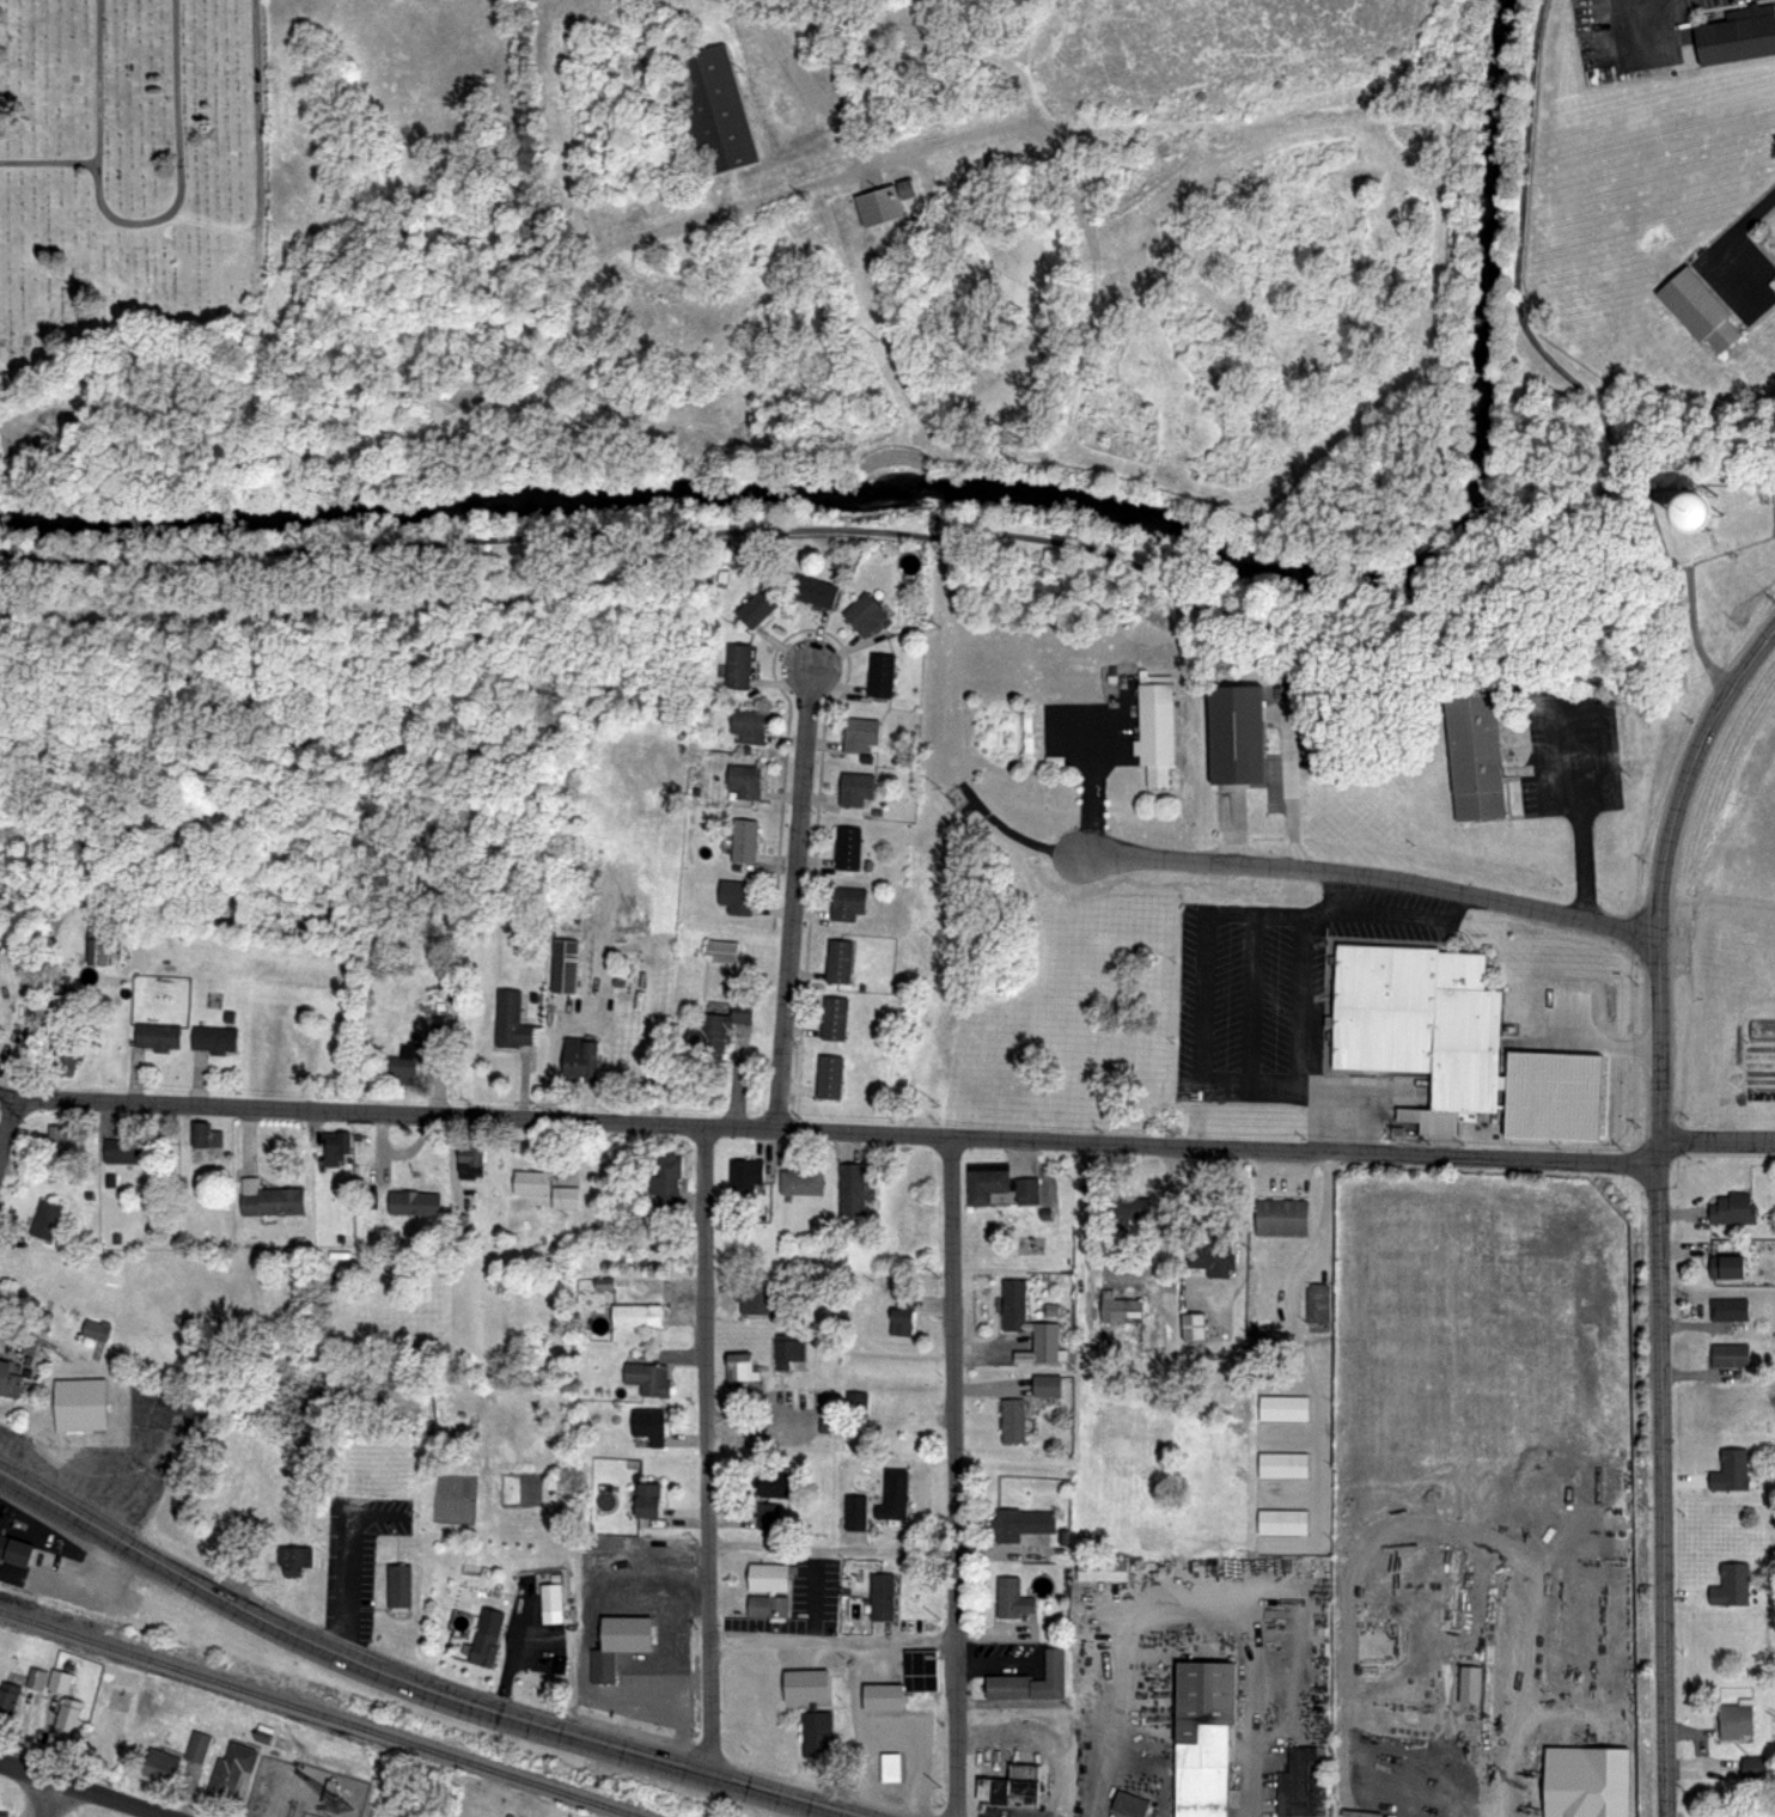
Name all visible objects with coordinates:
building: (1737, 36)
wastewater plant: (1215, 47)
road: (804, 75)
building: (712, 106)
road: (545, 136)
road: (1047, 150)
road: (49, 164)
park: (116, 166)
building: (878, 203)
road: (138, 224)
road: (1734, 231)
building: (1695, 306)
river: (1021, 499)
building: (1679, 501)
water tower: (1703, 505)
road: (1092, 547)
building: (816, 590)
building: (758, 605)
building: (867, 616)
building: (738, 664)
building: (880, 676)
road: (1286, 713)
parking lot: (1092, 722)
building: (1155, 722)
building: (749, 725)
building: (1237, 732)
building: (860, 733)
parking lot: (1567, 744)
building: (1477, 750)
building: (745, 780)
building: (856, 788)
building: (744, 841)
building: (847, 847)
road: (1584, 867)
road: (1376, 876)
building: (736, 896)
road: (793, 902)
building: (847, 903)
building: (97, 952)
building: (721, 952)
building: (838, 961)
building: (565, 967)
parking lot: (1280, 982)
building: (62, 996)
building: (740, 1018)
building: (834, 1018)
building: (1425, 1019)
building: (511, 1020)
building: (1757, 1029)
building: (709, 1035)
building: (155, 1037)
building: (215, 1041)
building: (438, 1041)
building: (66, 1054)
building: (579, 1059)
building: (402, 1061)
building: (829, 1077)
road: (8, 1127)
road: (828, 1134)
building: (205, 1135)
road: (1715, 1141)
building: (340, 1142)
building: (57, 1144)
building: (124, 1150)
building: (471, 1156)
building: (744, 1175)
building: (803, 1181)
building: (531, 1182)
building: (998, 1184)
building: (667, 1188)
building: (850, 1188)
building: (566, 1197)
building: (268, 1200)
building: (413, 1203)
building: (1130, 1207)
building: (1734, 1209)
road: (1658, 1211)
building: (1280, 1215)
building: (44, 1219)
building: (1212, 1257)
building: (1728, 1268)
building: (756, 1297)
building: (1013, 1306)
building: (1118, 1307)
building: (1317, 1307)
building: (1730, 1310)
building: (636, 1316)
building: (902, 1317)
building: (1191, 1325)
road: (1292, 1328)
building: (93, 1329)
road: (952, 1335)
building: (1259, 1335)
building: (1045, 1342)
building: (786, 1350)
building: (1731, 1355)
building: (740, 1367)
building: (649, 1379)
building: (8, 1383)
building: (1045, 1388)
building: (813, 1398)
building: (856, 1406)
building: (80, 1408)
building: (1283, 1408)
building: (647, 1422)
building: (1012, 1422)
building: (824, 1425)
road: (708, 1452)
building: (1283, 1467)
building: (1728, 1474)
building: (773, 1488)
building: (893, 1498)
building: (647, 1501)
building: (855, 1513)
building: (768, 1517)
building: (1282, 1520)
building: (1023, 1523)
road: (1438, 1528)
road: (832, 1549)
building: (14, 1551)
building: (294, 1561)
building: (1103, 1574)
building: (769, 1578)
building: (397, 1580)
building: (1732, 1586)
building: (882, 1596)
building: (551, 1598)
building: (1012, 1599)
road: (1179, 1600)
building: (768, 1606)
road: (832, 1635)
building: (487, 1638)
building: (618, 1646)
building: (921, 1672)
road: (956, 1675)
building: (57, 1682)
building: (1030, 1682)
road: (409, 1684)
building: (805, 1687)
building: (883, 1697)
building: (116, 1700)
building: (10, 1701)
railway: (318, 1714)
building: (1740, 1715)
building: (66, 1720)
building: (817, 1736)
building: (1202, 1738)
building: (197, 1748)
building: (94, 1749)
building: (159, 1766)
building: (1753, 1767)
building: (891, 1768)
building: (230, 1770)
building: (1588, 1781)
building: (1304, 1784)
building: (1012, 1787)
road: (79, 1788)
road: (43, 1797)
building: (1130, 1805)
building: (1, 1813)
building: (4, 1816)

